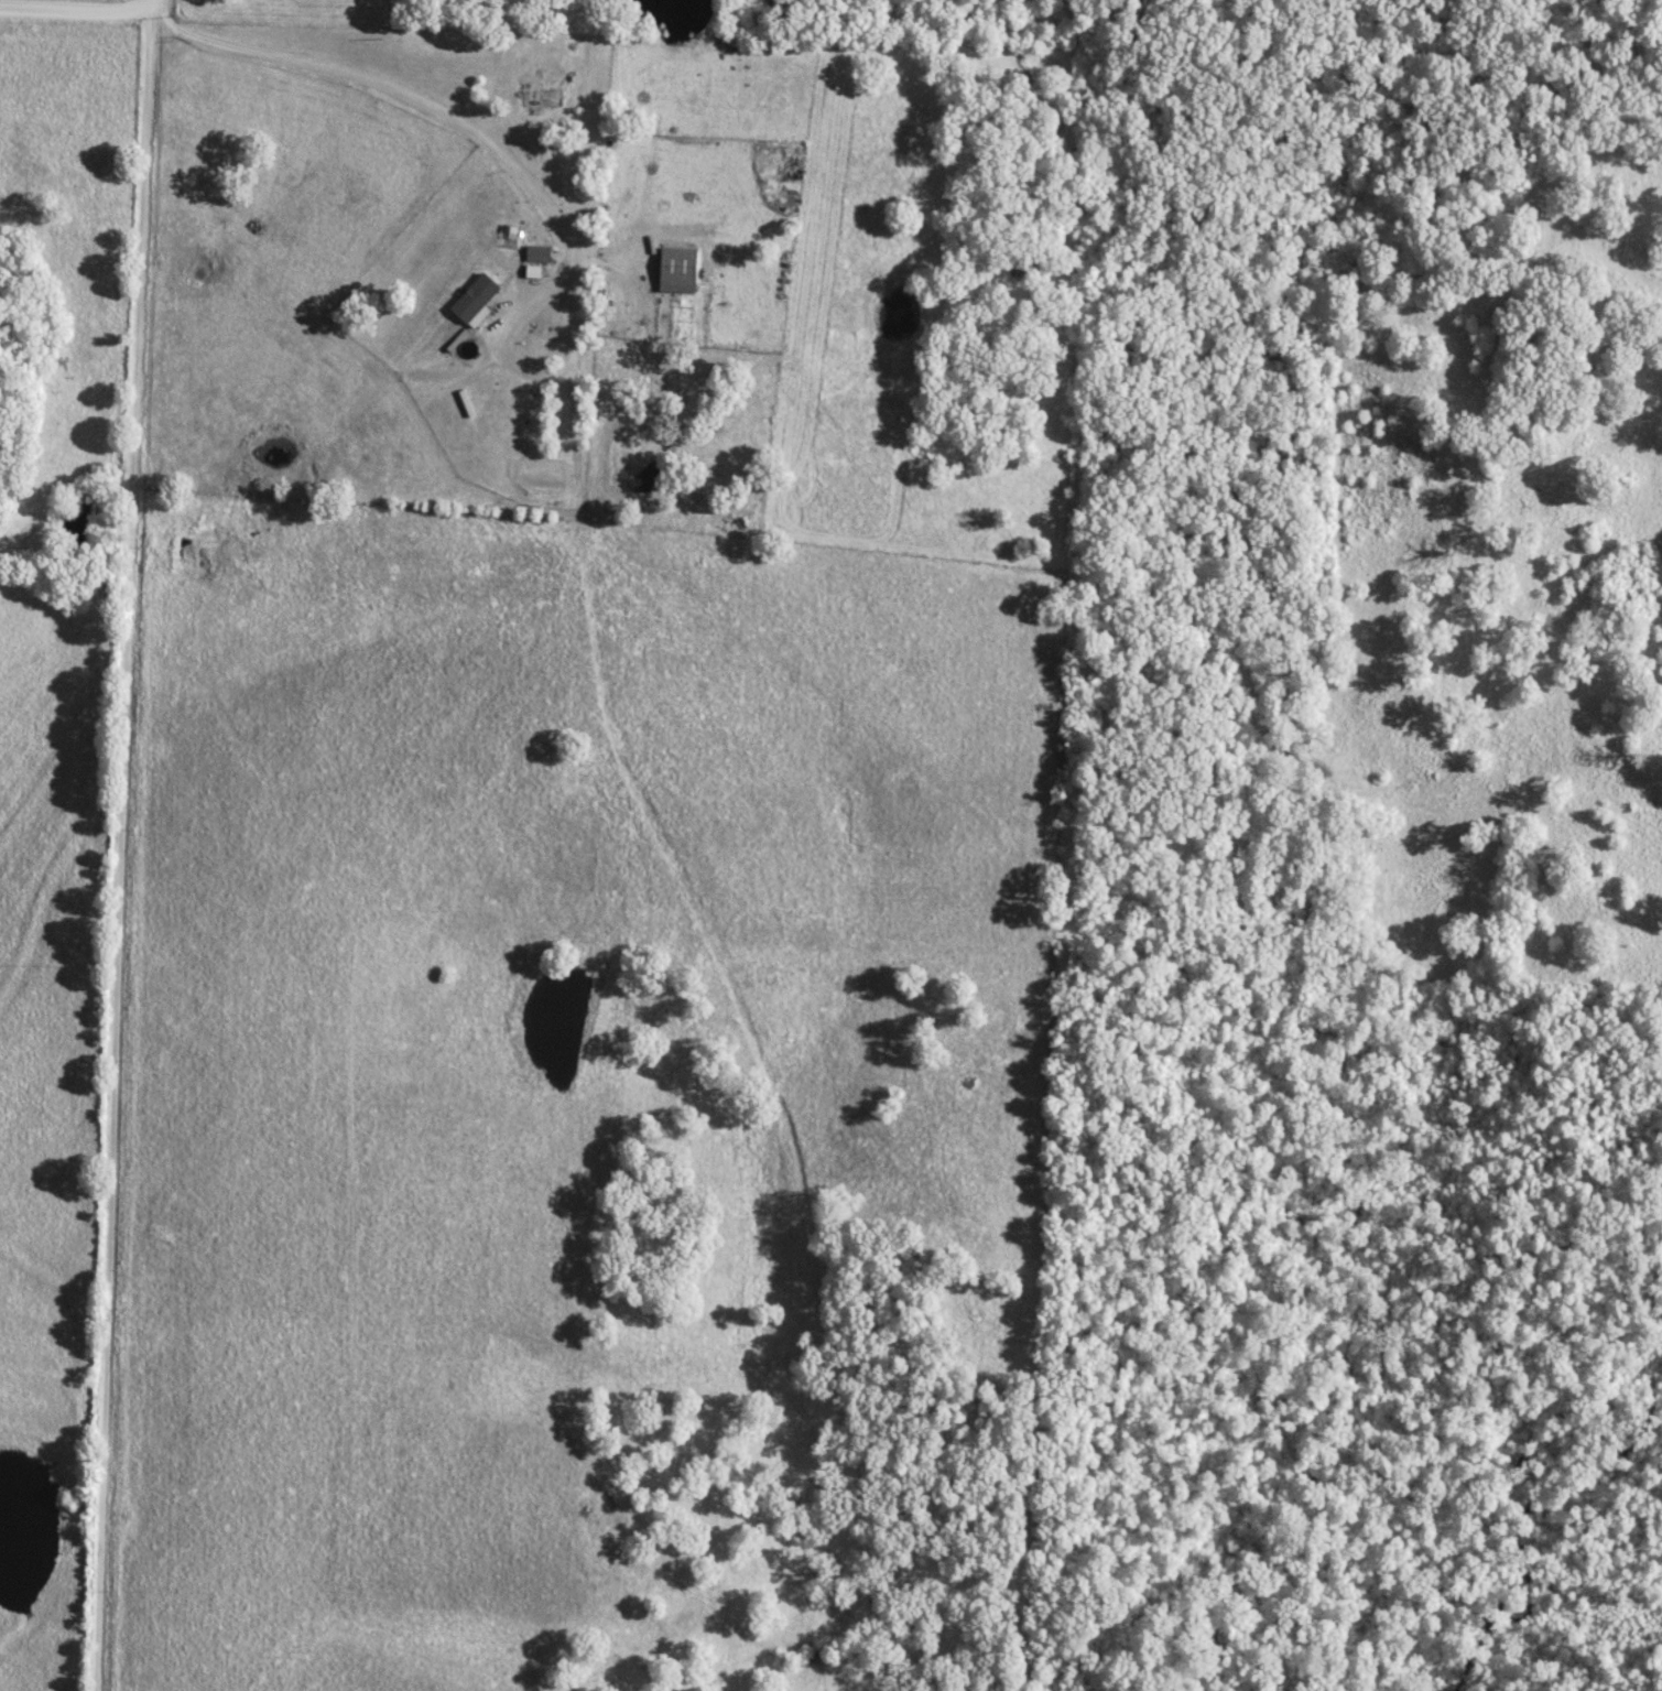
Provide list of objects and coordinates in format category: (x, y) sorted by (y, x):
road: (76, 12)
building: (543, 96)
road: (428, 102)
building: (537, 252)
building: (676, 269)
road: (119, 845)

